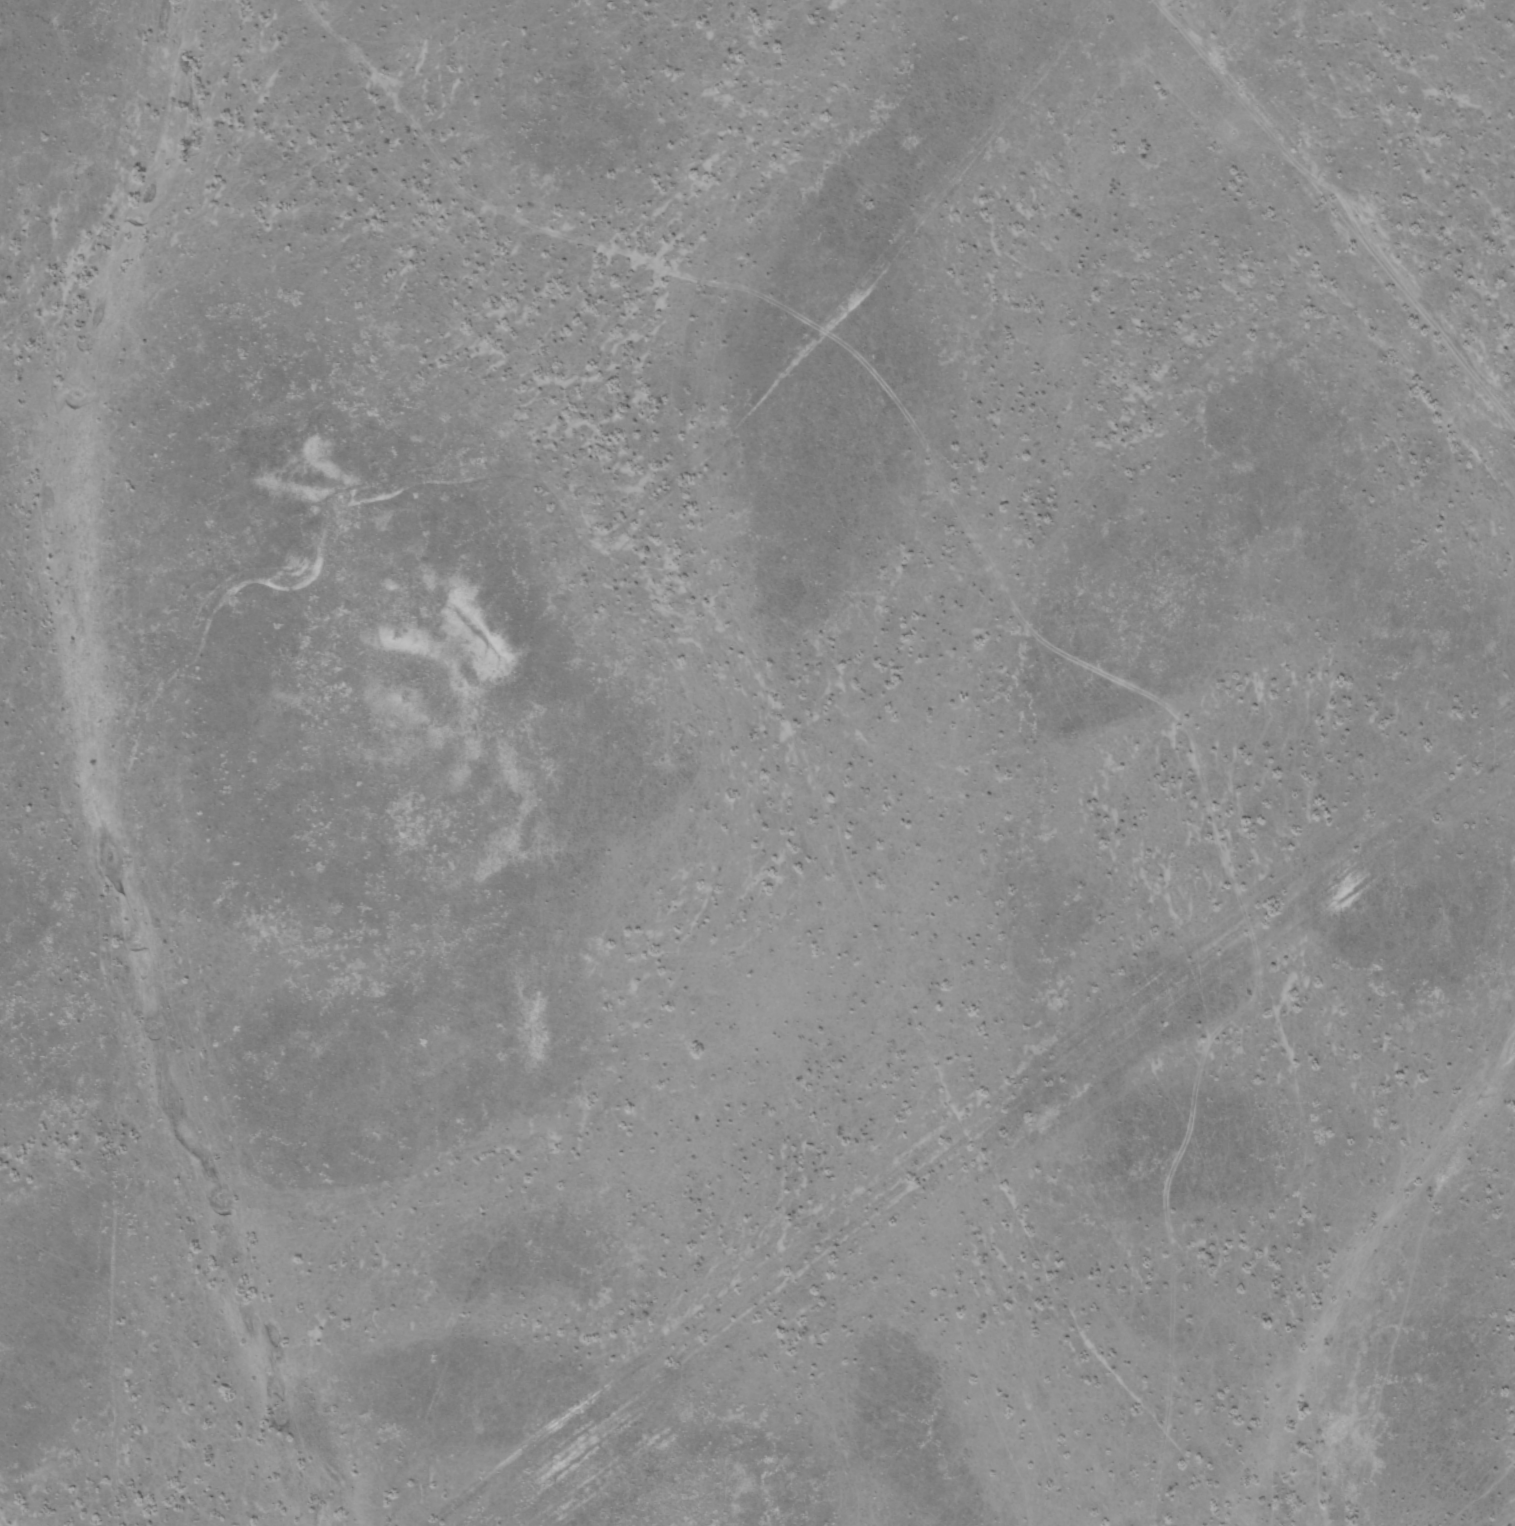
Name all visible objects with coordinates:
road: (137, 769)
road: (1032, 1082)

